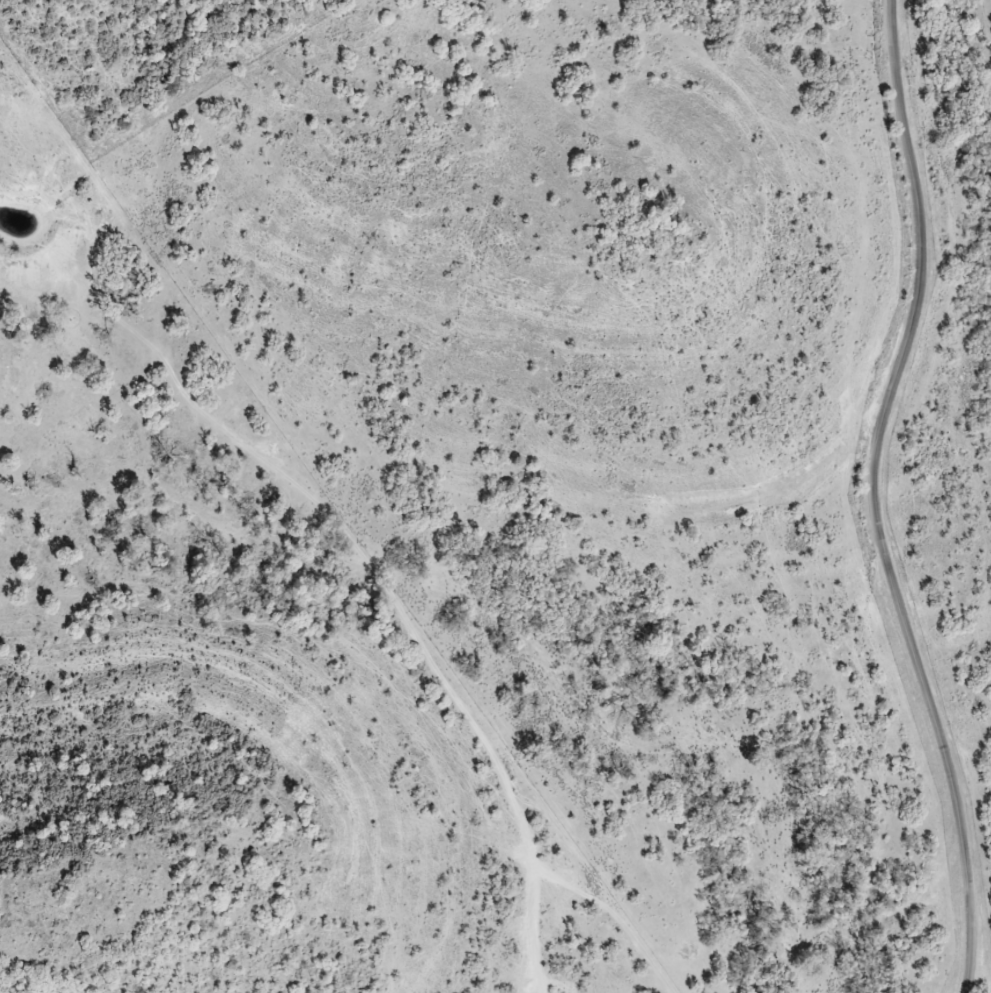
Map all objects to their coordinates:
road: (872, 497)

